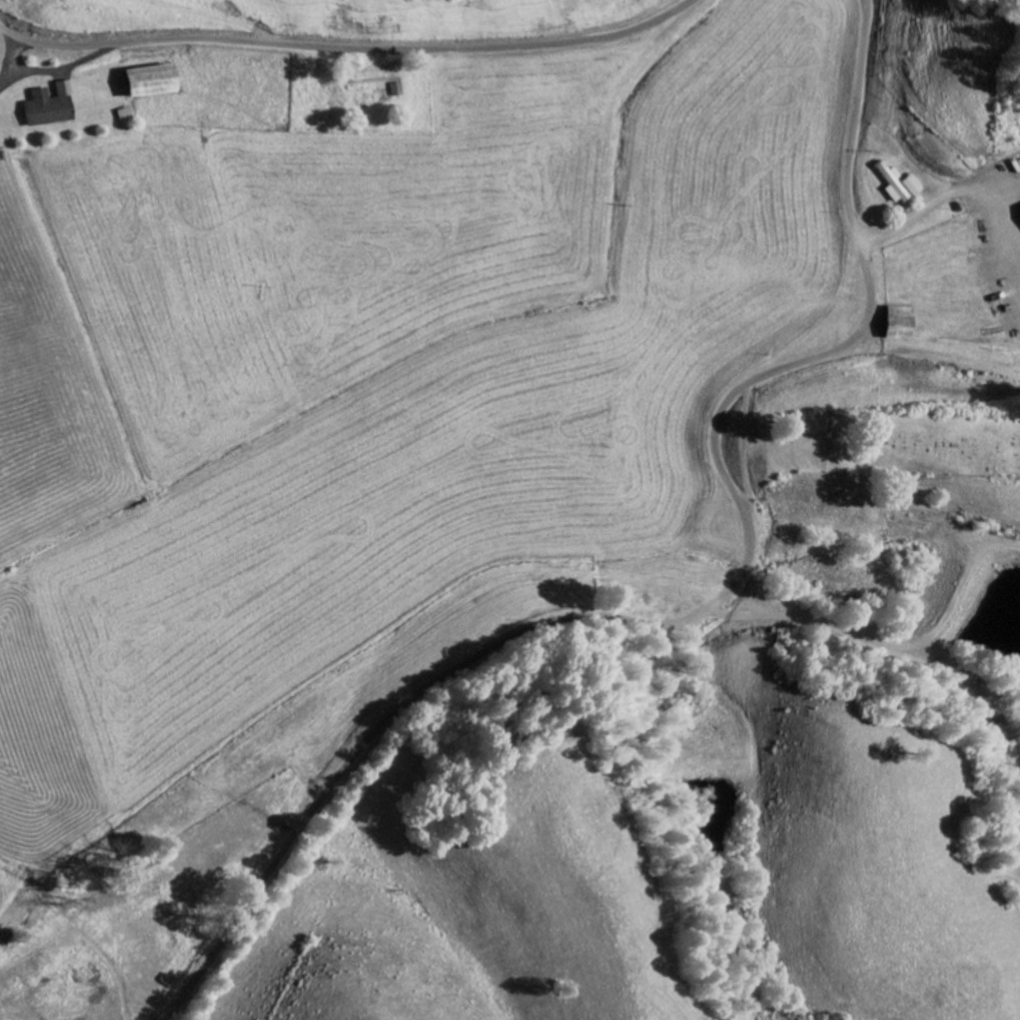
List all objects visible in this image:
road: (348, 46)
building: (152, 82)
building: (396, 90)
building: (52, 107)
building: (895, 184)
building: (915, 186)
building: (901, 324)
park: (924, 439)
road: (707, 609)

